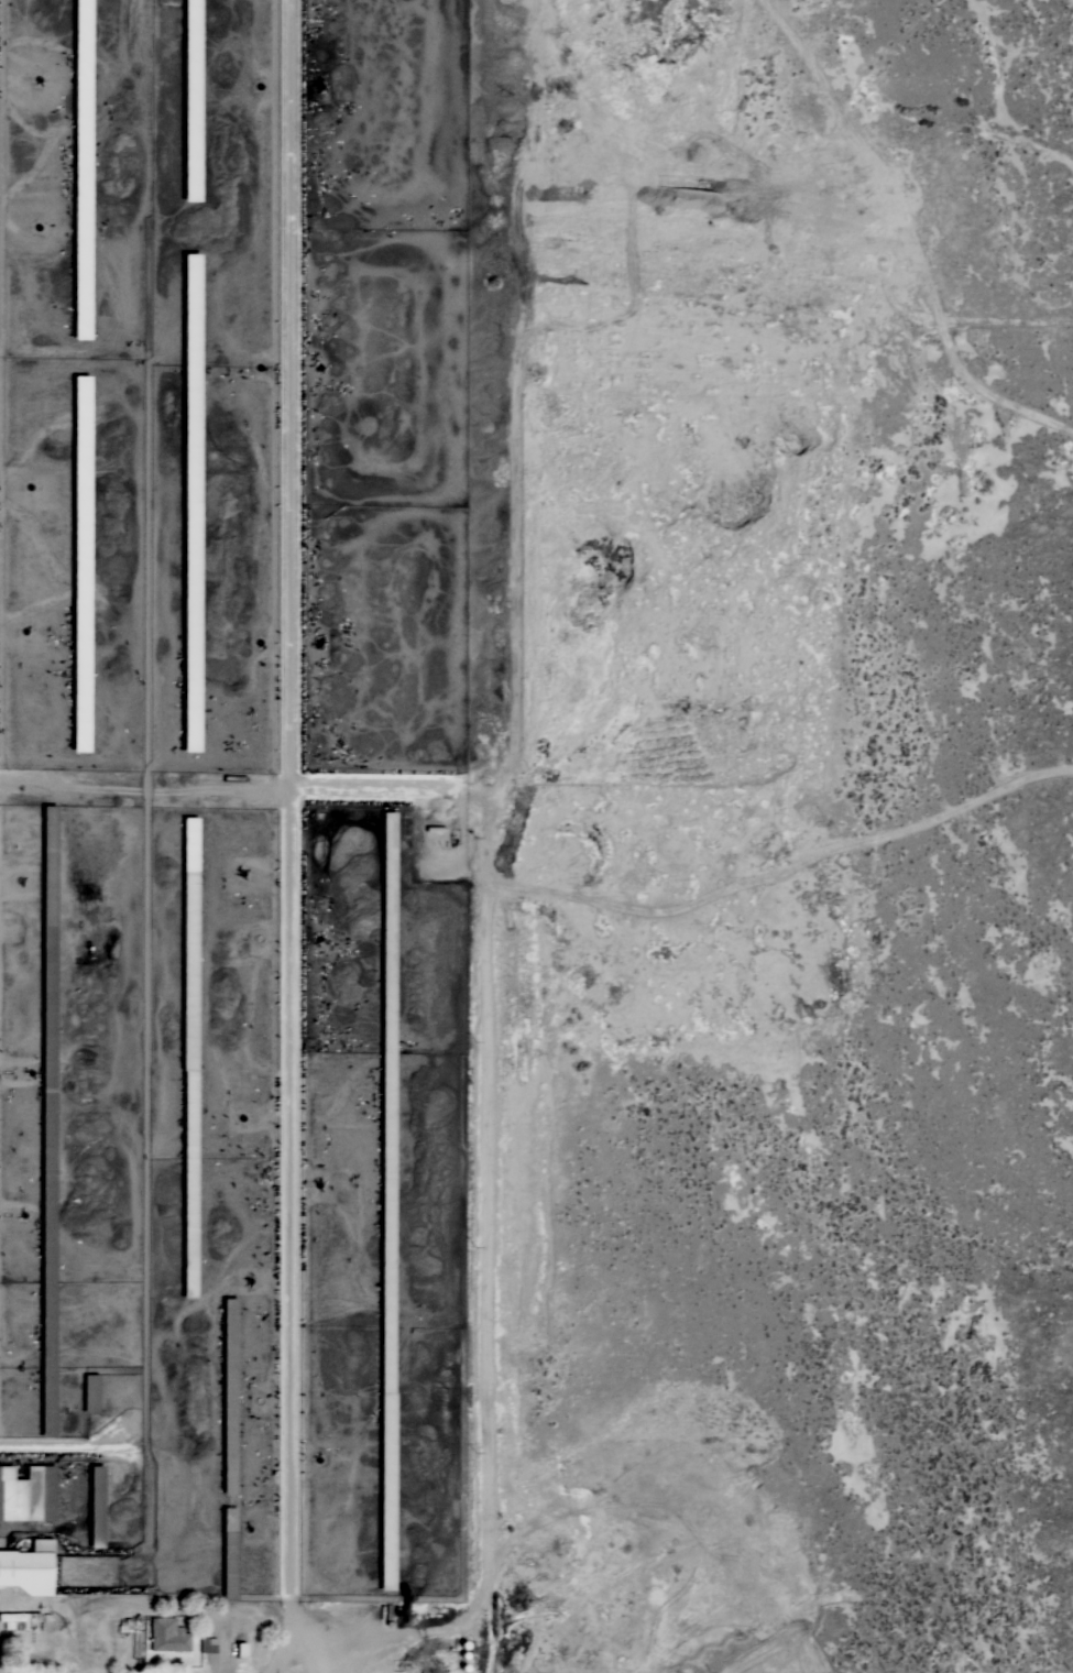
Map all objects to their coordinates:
building: (190, 99)
building: (80, 168)
building: (190, 502)
building: (79, 564)
road: (288, 780)
building: (188, 1049)
road: (484, 1063)
building: (46, 1116)
building: (386, 1206)
building: (89, 1392)
building: (228, 1448)
building: (26, 1494)
building: (95, 1506)
building: (28, 1567)
road: (288, 1599)
building: (18, 1619)
road: (495, 1630)
building: (166, 1634)
building: (239, 1649)
road: (284, 1655)

